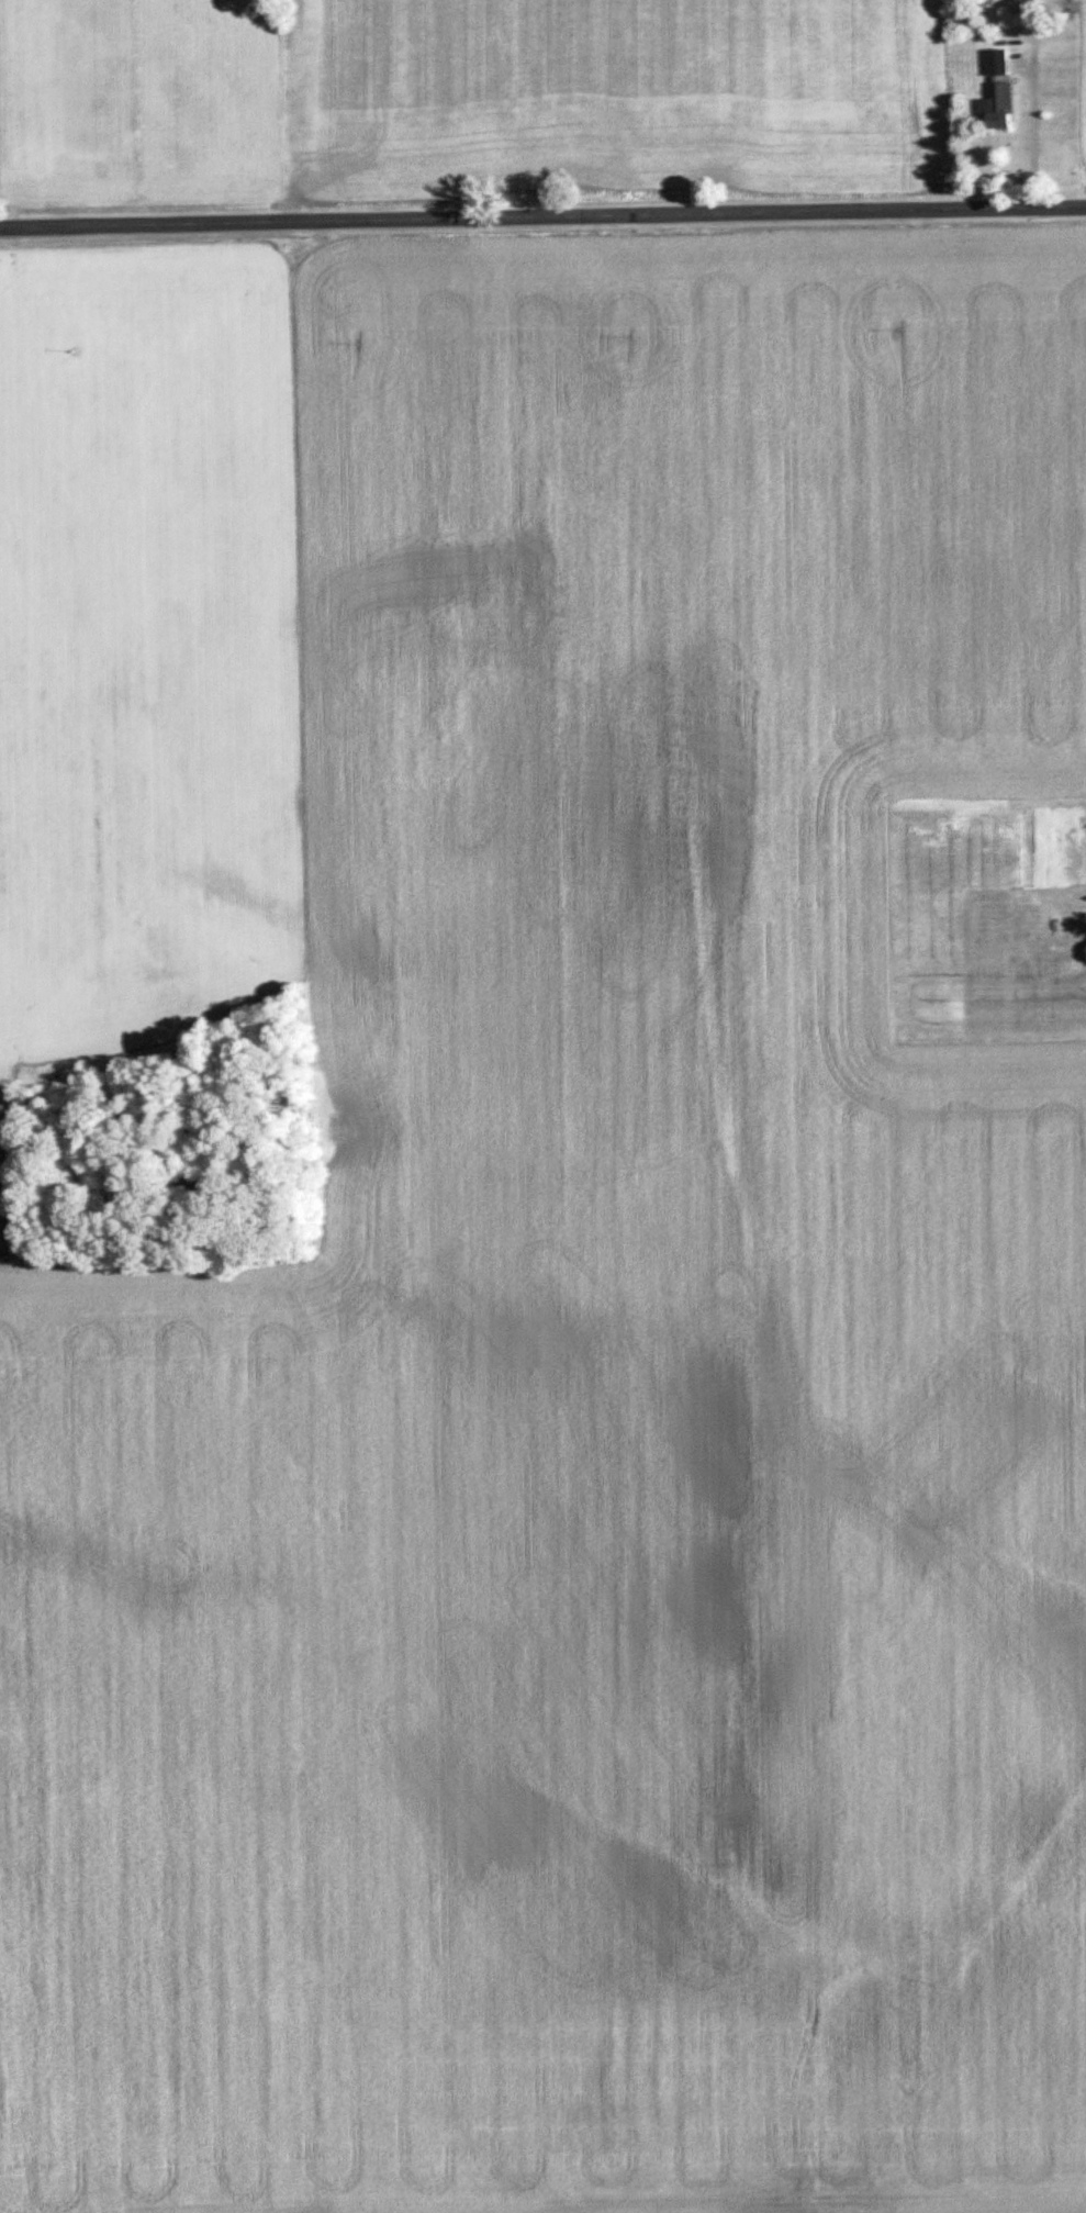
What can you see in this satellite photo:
building: (999, 64)
building: (1001, 108)
road: (1028, 132)
road: (542, 214)
building: (922, 831)
building: (1015, 915)
building: (1044, 1001)

